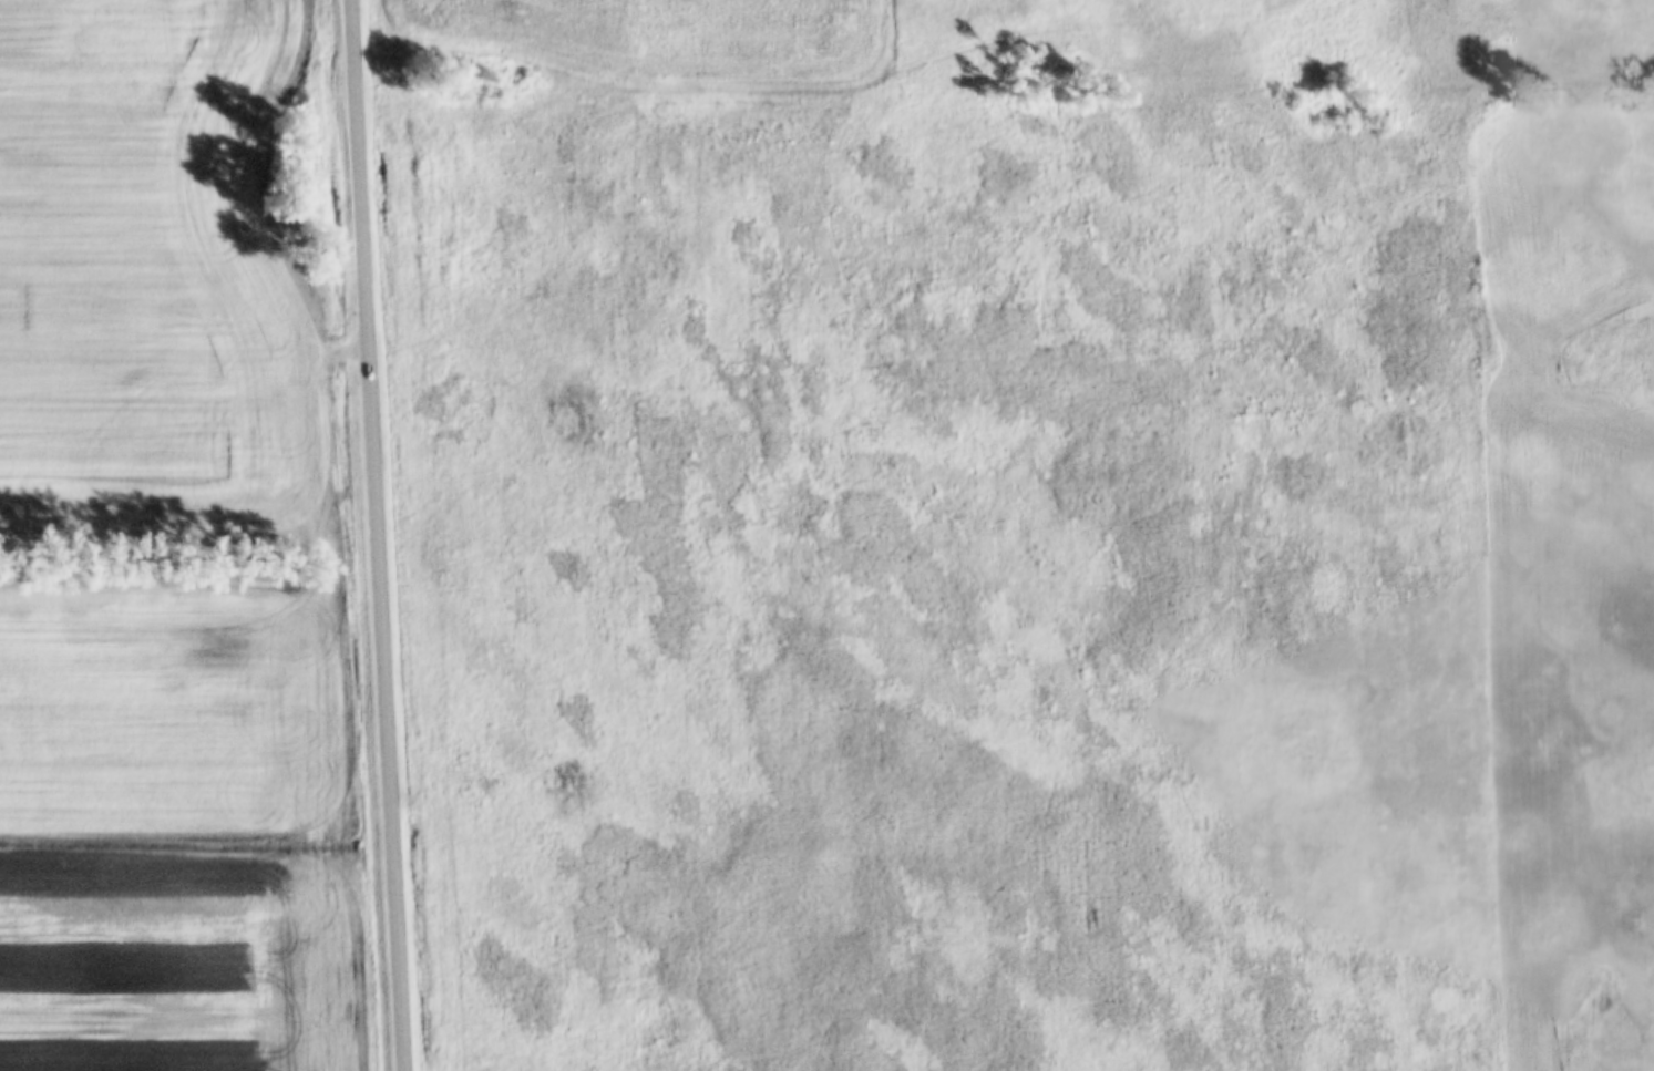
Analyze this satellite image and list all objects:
crop: (162, 429)
road: (381, 535)
crop: (176, 964)

